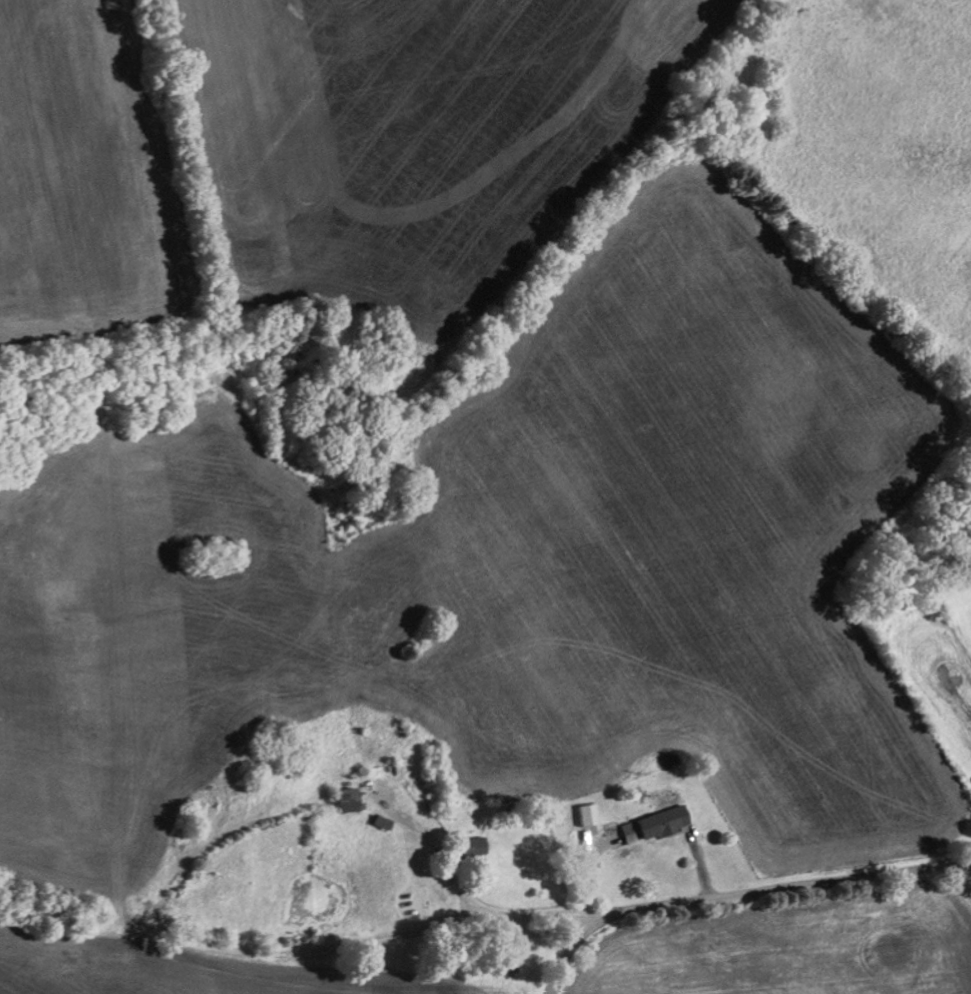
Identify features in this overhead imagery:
building: (655, 824)
road: (741, 894)

